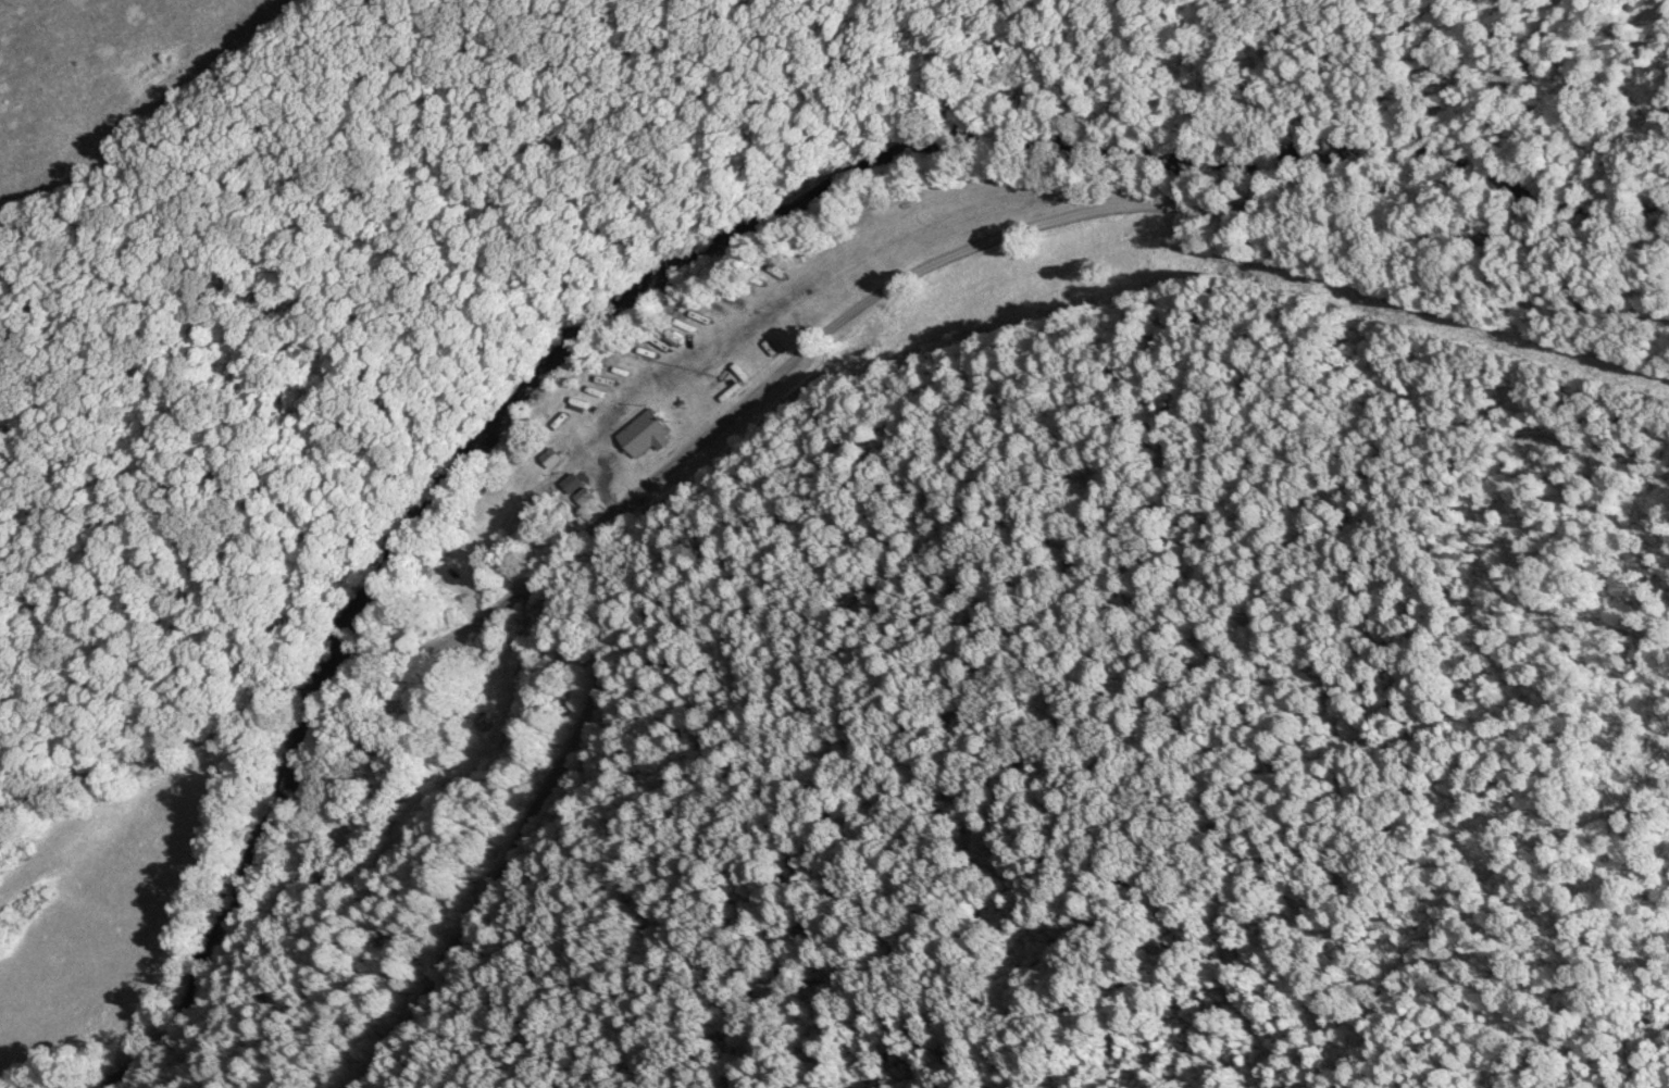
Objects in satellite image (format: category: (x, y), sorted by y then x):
river: (680, 260)
road: (789, 358)
building: (648, 429)
road: (531, 818)

